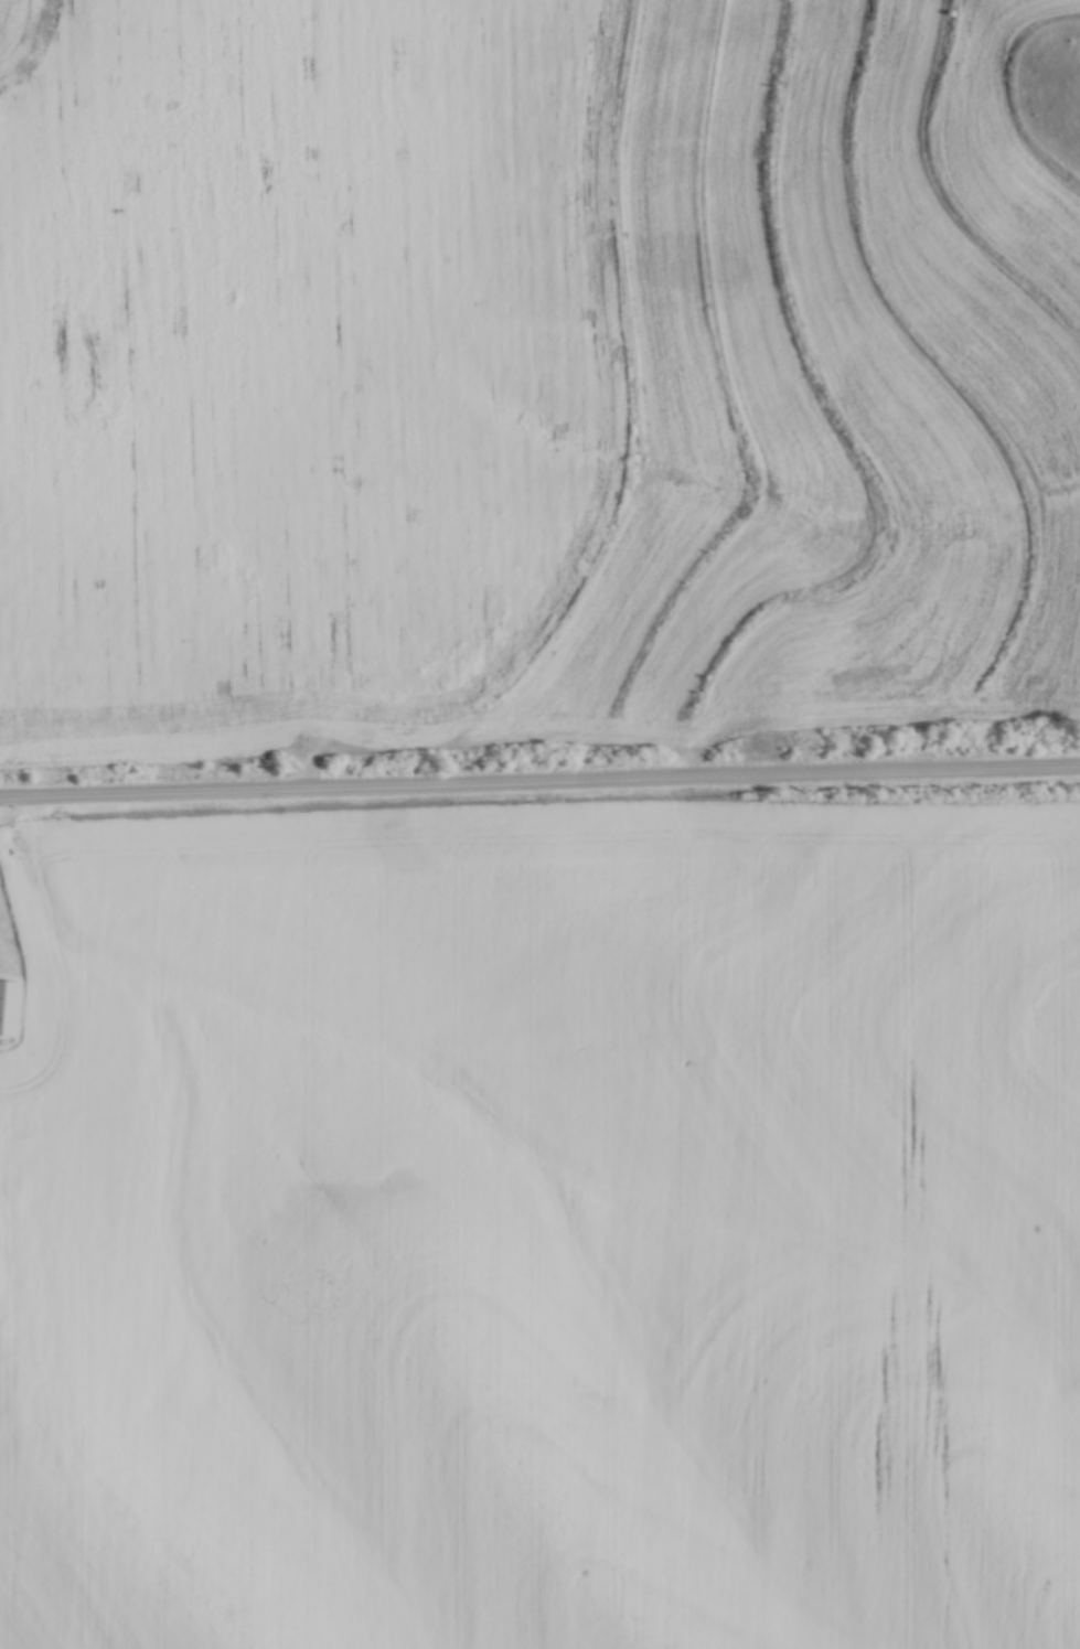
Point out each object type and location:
road: (539, 778)
building: (8, 1005)

